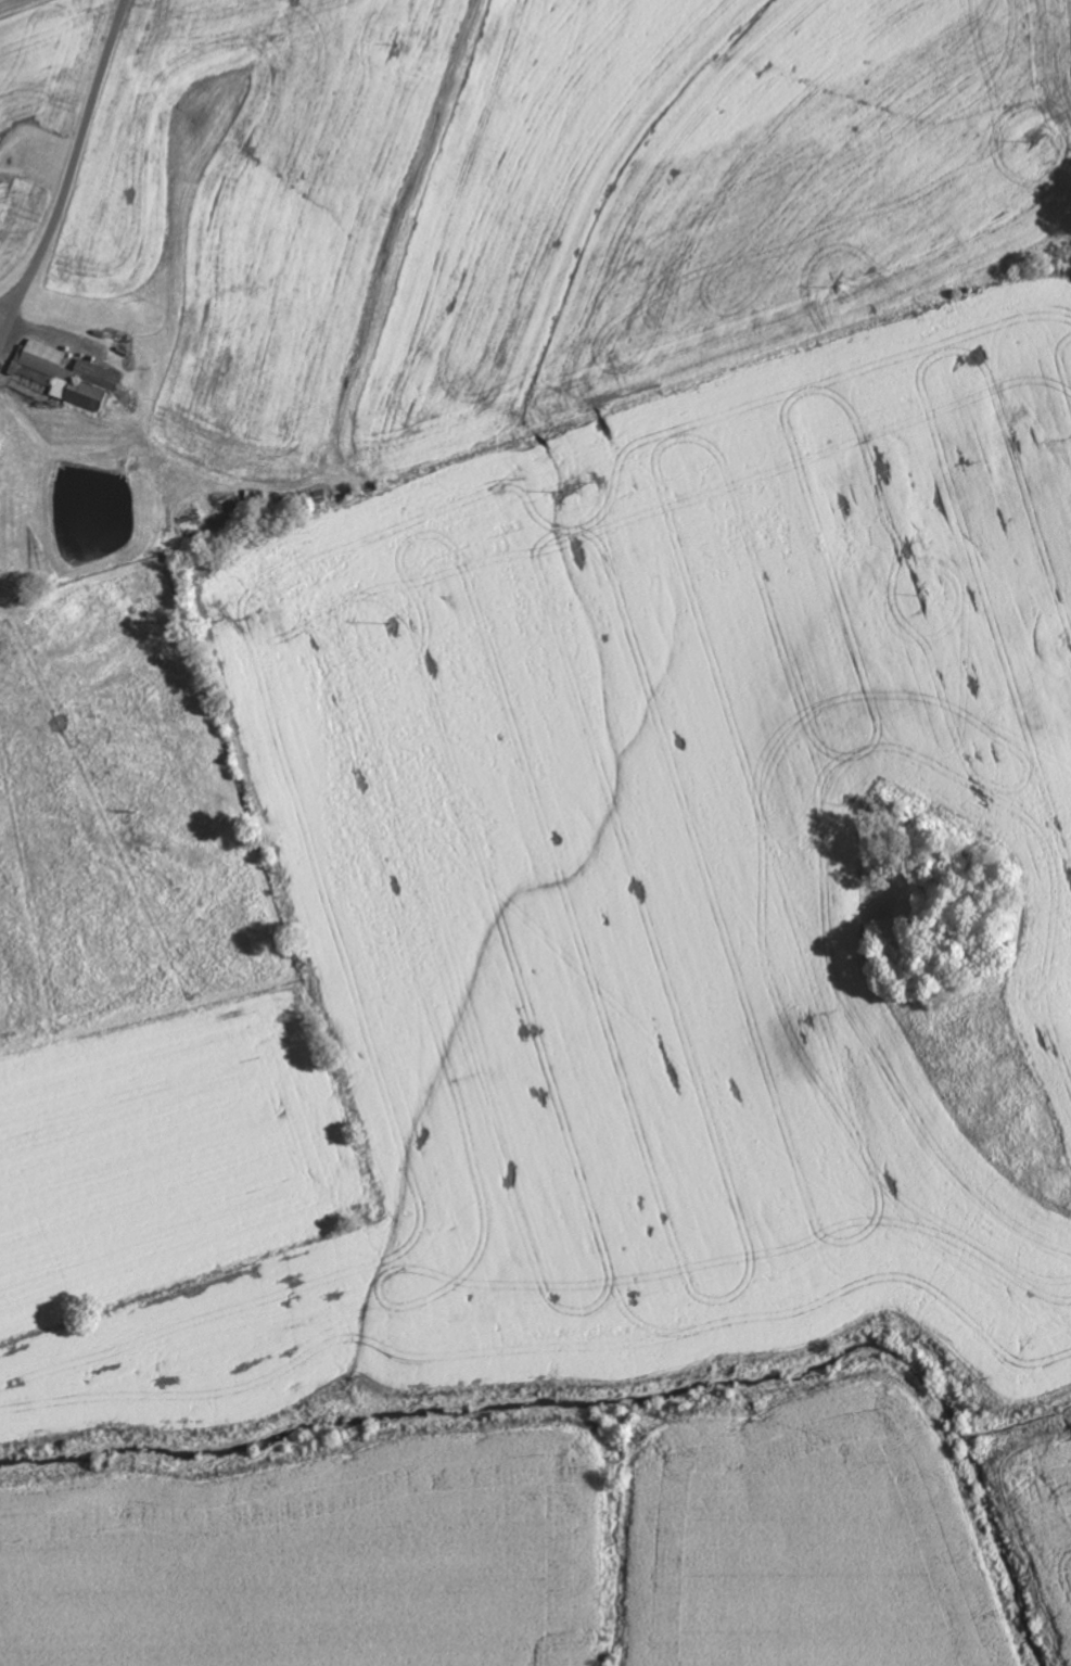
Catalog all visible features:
road: (60, 122)
building: (65, 374)

